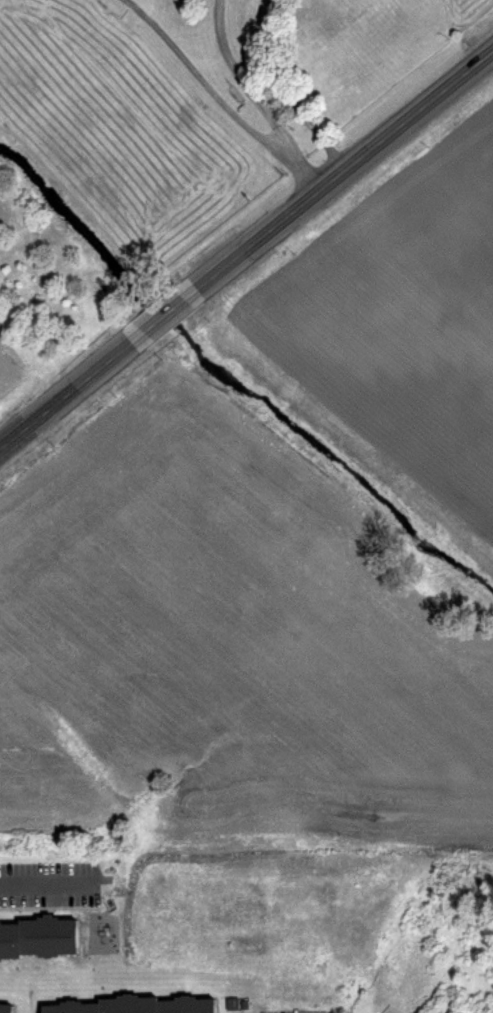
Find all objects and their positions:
road: (281, 92)
road: (257, 131)
road: (297, 170)
road: (345, 170)
crop: (39, 293)
road: (167, 316)
road: (68, 399)
crop: (275, 597)
road: (45, 884)
building: (45, 935)
building: (8, 938)
building: (128, 1003)
building: (186, 1004)
building: (6, 1006)
building: (73, 1006)

